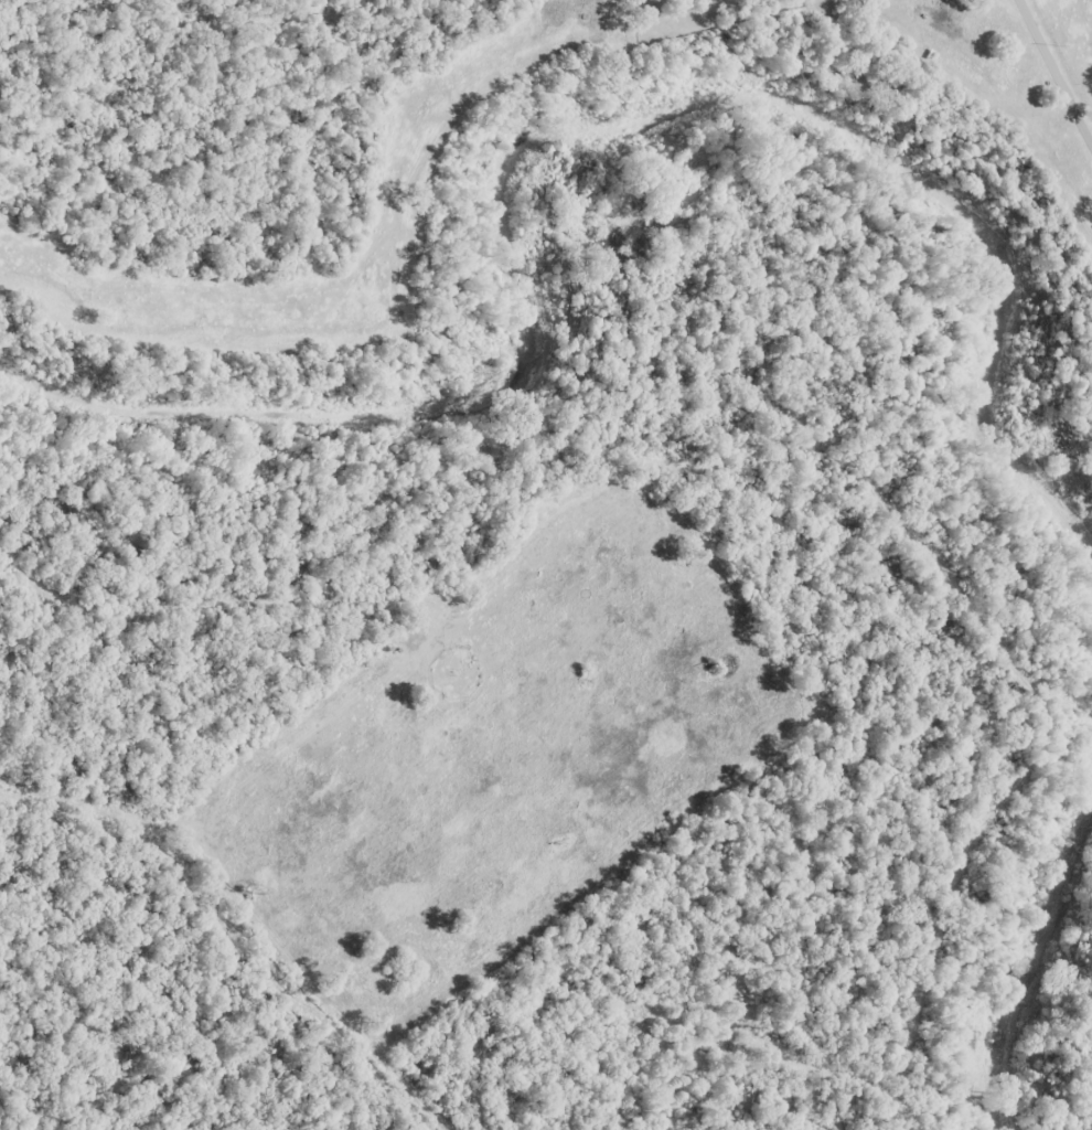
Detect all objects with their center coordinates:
road: (1061, 51)
river: (565, 128)
river: (1040, 971)

